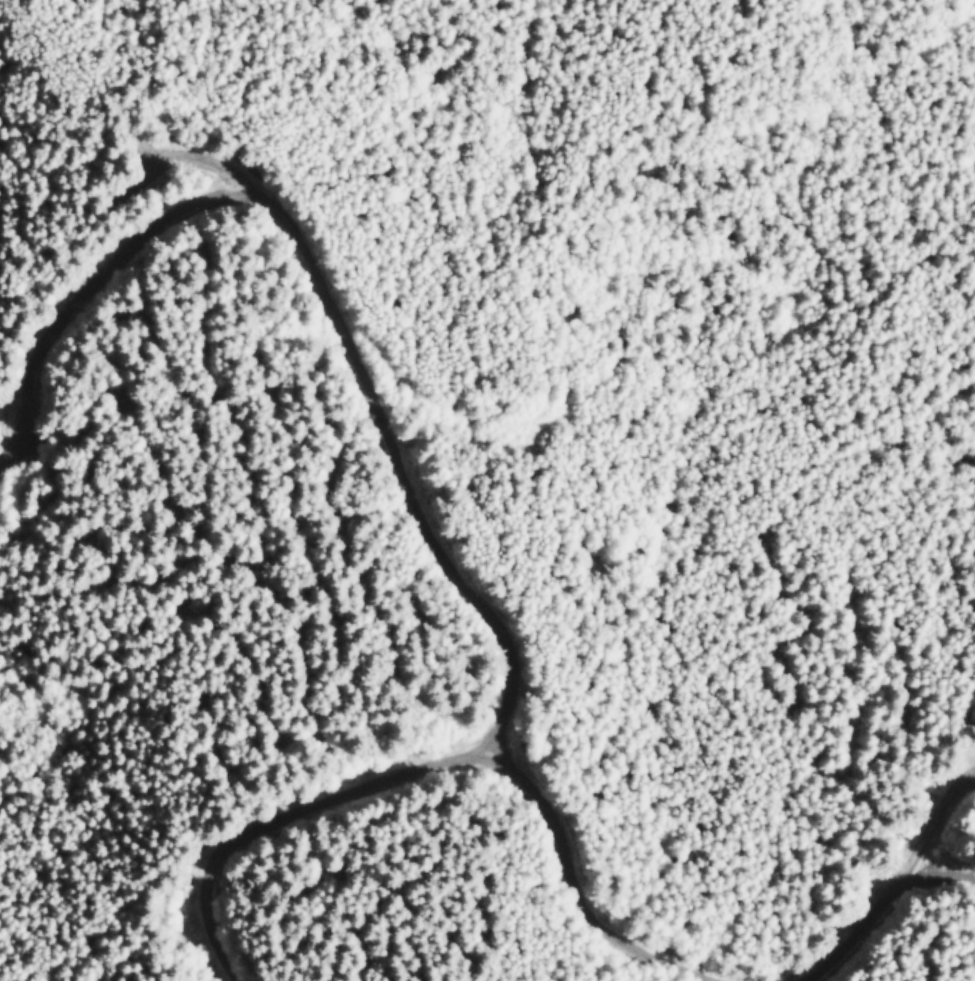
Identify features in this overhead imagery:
road: (75, 306)
road: (382, 430)
road: (430, 764)
road: (893, 908)

